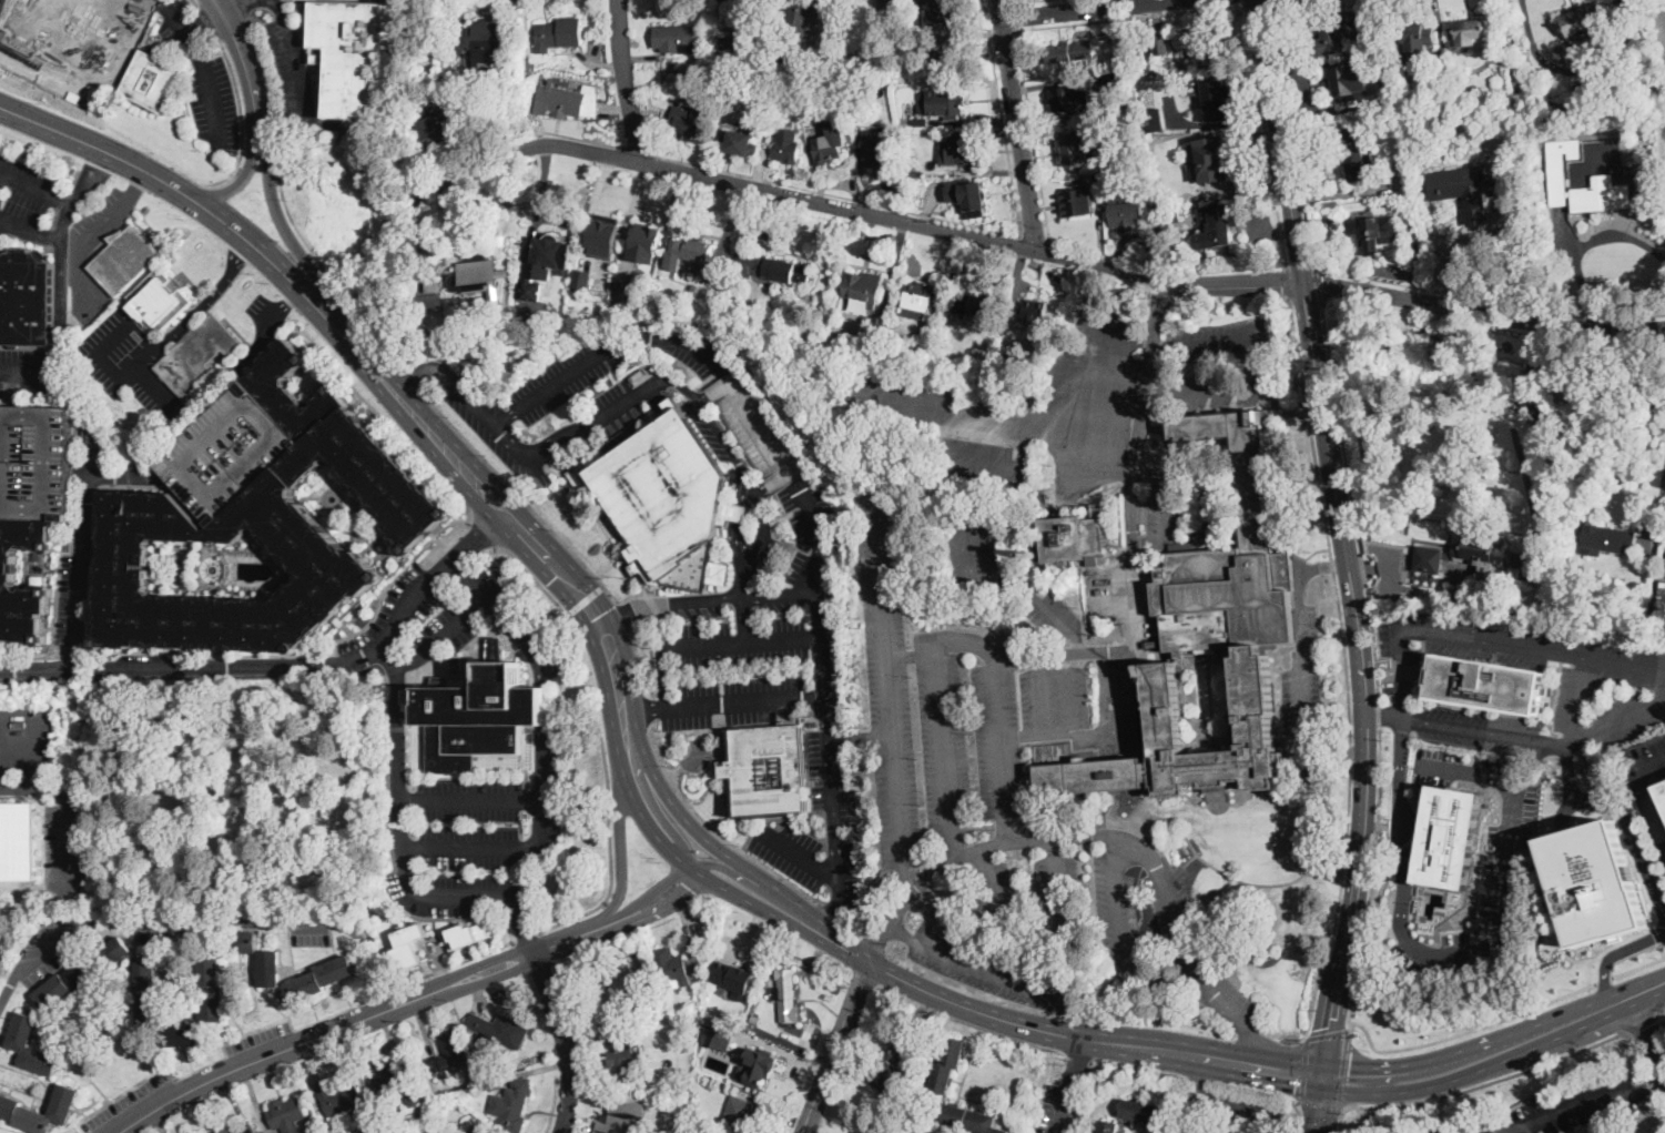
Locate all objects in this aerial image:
road: (1011, 0)
road: (1016, 0)
road: (1245, 1)
road: (1259, 1)
building: (887, 3)
road: (199, 6)
road: (237, 7)
road: (243, 9)
road: (1096, 10)
building: (935, 11)
road: (1014, 14)
road: (1130, 16)
building: (799, 17)
building: (1585, 22)
road: (209, 23)
road: (207, 27)
road: (233, 30)
building: (1336, 30)
road: (1002, 31)
building: (77, 32)
building: (561, 32)
building: (1471, 33)
building: (481, 37)
building: (677, 39)
building: (924, 39)
building: (1414, 40)
building: (1209, 42)
building: (1163, 44)
building: (741, 48)
building: (353, 50)
building: (1070, 51)
building: (1128, 57)
building: (953, 58)
road: (297, 62)
building: (1389, 64)
parking lot: (292, 67)
building: (1663, 68)
road: (206, 74)
building: (1115, 79)
building: (152, 80)
road: (625, 82)
building: (1352, 82)
building: (1163, 90)
building: (1070, 98)
building: (567, 100)
building: (1218, 100)
building: (942, 101)
building: (422, 105)
building: (1422, 105)
road: (240, 117)
building: (921, 122)
building: (686, 125)
road: (1016, 125)
building: (1101, 125)
building: (436, 130)
road: (1266, 133)
road: (1293, 134)
road: (580, 138)
building: (742, 141)
building: (830, 141)
road: (1281, 141)
building: (788, 144)
building: (1482, 145)
building: (960, 148)
road: (637, 149)
building: (1076, 151)
building: (1358, 151)
building: (880, 152)
building: (1210, 159)
road: (248, 161)
building: (1560, 166)
building: (1117, 181)
building: (1097, 182)
road: (173, 188)
road: (37, 190)
road: (132, 190)
road: (271, 191)
building: (1181, 191)
building: (1461, 191)
building: (967, 194)
parking lot: (24, 196)
building: (1602, 199)
building: (1077, 201)
building: (1330, 202)
building: (1360, 202)
building: (1394, 202)
road: (286, 209)
road: (856, 211)
parking lot: (94, 214)
building: (1127, 215)
building: (1171, 216)
road: (951, 220)
building: (1332, 220)
building: (1219, 227)
road: (31, 229)
building: (1371, 232)
building: (603, 234)
road: (1035, 237)
building: (646, 241)
road: (1584, 244)
road: (1060, 245)
road: (1449, 250)
road: (78, 251)
building: (698, 253)
road: (62, 257)
building: (124, 259)
building: (545, 265)
building: (772, 267)
building: (714, 273)
building: (478, 276)
building: (581, 277)
road: (1289, 281)
building: (622, 284)
building: (863, 289)
road: (1319, 289)
parking lot: (88, 295)
building: (922, 296)
building: (161, 297)
road: (1490, 301)
road: (205, 302)
building: (27, 303)
building: (429, 303)
building: (974, 306)
building: (1035, 312)
road: (1484, 312)
building: (948, 315)
building: (879, 325)
road: (1115, 330)
parking lot: (135, 351)
road: (603, 351)
road: (358, 352)
building: (197, 355)
road: (245, 358)
road: (104, 363)
road: (29, 373)
parking lot: (30, 373)
road: (1098, 374)
road: (1266, 375)
road: (410, 381)
road: (412, 381)
road: (160, 392)
road: (1006, 407)
building: (758, 428)
road: (408, 446)
road: (546, 451)
building: (229, 452)
parking lot: (229, 452)
road: (1099, 453)
road: (449, 454)
building: (35, 461)
parking lot: (35, 461)
road: (120, 476)
road: (1135, 476)
road: (748, 482)
road: (1087, 483)
building: (141, 492)
road: (526, 502)
building: (667, 502)
road: (1657, 514)
road: (1164, 517)
road: (483, 534)
road: (819, 536)
building: (1074, 536)
building: (1608, 539)
building: (1181, 545)
road: (1148, 546)
building: (1483, 550)
building: (1430, 558)
building: (1654, 560)
building: (9, 566)
road: (1320, 567)
road: (80, 569)
road: (531, 575)
traffic signals: (558, 575)
road: (468, 585)
road: (569, 586)
road: (1022, 590)
building: (1663, 596)
road: (587, 597)
parking lot: (65, 599)
road: (691, 600)
road: (882, 601)
parking lot: (63, 606)
road: (623, 613)
road: (617, 614)
traffic signals: (593, 618)
road: (744, 619)
parking lot: (388, 620)
road: (1449, 637)
road: (441, 640)
road: (955, 640)
road: (748, 644)
building: (1208, 648)
road: (558, 653)
road: (367, 654)
road: (1303, 654)
road: (1056, 656)
road: (638, 658)
road: (1585, 661)
road: (145, 665)
road: (58, 667)
road: (1377, 668)
road: (1347, 669)
building: (1489, 684)
road: (1042, 685)
road: (1360, 686)
road: (544, 694)
road: (826, 698)
road: (742, 699)
building: (841, 701)
road: (646, 708)
road: (644, 712)
building: (478, 715)
road: (1383, 717)
road: (396, 719)
road: (1618, 726)
road: (1120, 727)
road: (1488, 731)
road: (862, 737)
parking lot: (26, 739)
road: (3, 748)
road: (35, 748)
road: (1532, 759)
road: (1653, 762)
road: (896, 765)
building: (768, 770)
building: (1662, 791)
park: (234, 795)
road: (456, 799)
road: (654, 808)
road: (1623, 813)
parking lot: (841, 815)
road: (67, 816)
road: (1105, 816)
road: (1654, 821)
road: (690, 822)
road: (607, 827)
road: (717, 831)
parking lot: (68, 837)
building: (1451, 837)
road: (1019, 840)
building: (18, 841)
road: (621, 848)
road: (800, 858)
road: (683, 861)
road: (1211, 863)
road: (741, 877)
road: (906, 882)
building: (1594, 882)
road: (1381, 903)
road: (834, 904)
road: (33, 909)
road: (202, 922)
parking lot: (165, 931)
parking lot: (6, 933)
building: (467, 933)
parking lot: (311, 934)
road: (902, 934)
road: (1657, 934)
road: (524, 935)
road: (527, 935)
road: (1046, 939)
road: (847, 941)
road: (1125, 941)
building: (240, 942)
road: (881, 942)
building: (408, 943)
road: (1663, 947)
parking lot: (48, 949)
road: (1618, 951)
road: (1188, 953)
road: (1471, 954)
road: (869, 961)
road: (448, 965)
road: (1638, 965)
building: (270, 968)
building: (677, 968)
road: (991, 968)
parking lot: (992, 969)
building: (83, 972)
building: (322, 978)
building: (739, 978)
road: (1604, 980)
building: (212, 985)
building: (620, 990)
building: (148, 992)
road: (375, 995)
building: (786, 995)
road: (407, 1001)
road: (1659, 1009)
road: (1662, 1018)
road: (1641, 1022)
traffic signals: (1331, 1023)
road: (1077, 1030)
road: (1468, 1030)
building: (499, 1031)
building: (22, 1032)
road: (1251, 1033)
road: (1327, 1033)
road: (1649, 1034)
building: (182, 1035)
building: (718, 1035)
road: (565, 1041)
road: (1484, 1042)
road: (834, 1050)
building: (449, 1053)
road: (221, 1058)
building: (623, 1059)
building: (948, 1064)
building: (757, 1065)
building: (889, 1066)
traffic signals: (1350, 1068)
road: (842, 1070)
road: (1342, 1071)
road: (1302, 1072)
building: (388, 1076)
road: (1199, 1078)
road: (1646, 1078)
road: (1267, 1081)
road: (1485, 1081)
building: (497, 1082)
road: (1074, 1082)
road: (1200, 1083)
building: (485, 1086)
traffic signals: (1297, 1086)
road: (1649, 1088)
building: (338, 1097)
building: (512, 1102)
road: (1238, 1104)
road: (1570, 1107)
building: (17, 1109)
parking lot: (1557, 1109)
road: (1321, 1110)
building: (1143, 1111)
building: (286, 1112)
road: (1320, 1112)
building: (739, 1115)
building: (971, 1119)
road: (1300, 1120)
building: (620, 1121)
traffic signals: (1318, 1122)
road: (1341, 1123)
building: (1108, 1126)
building: (473, 1127)
building: (236, 1129)
building: (598, 1132)
building: (1164, 1132)
building: (1635, 1132)

